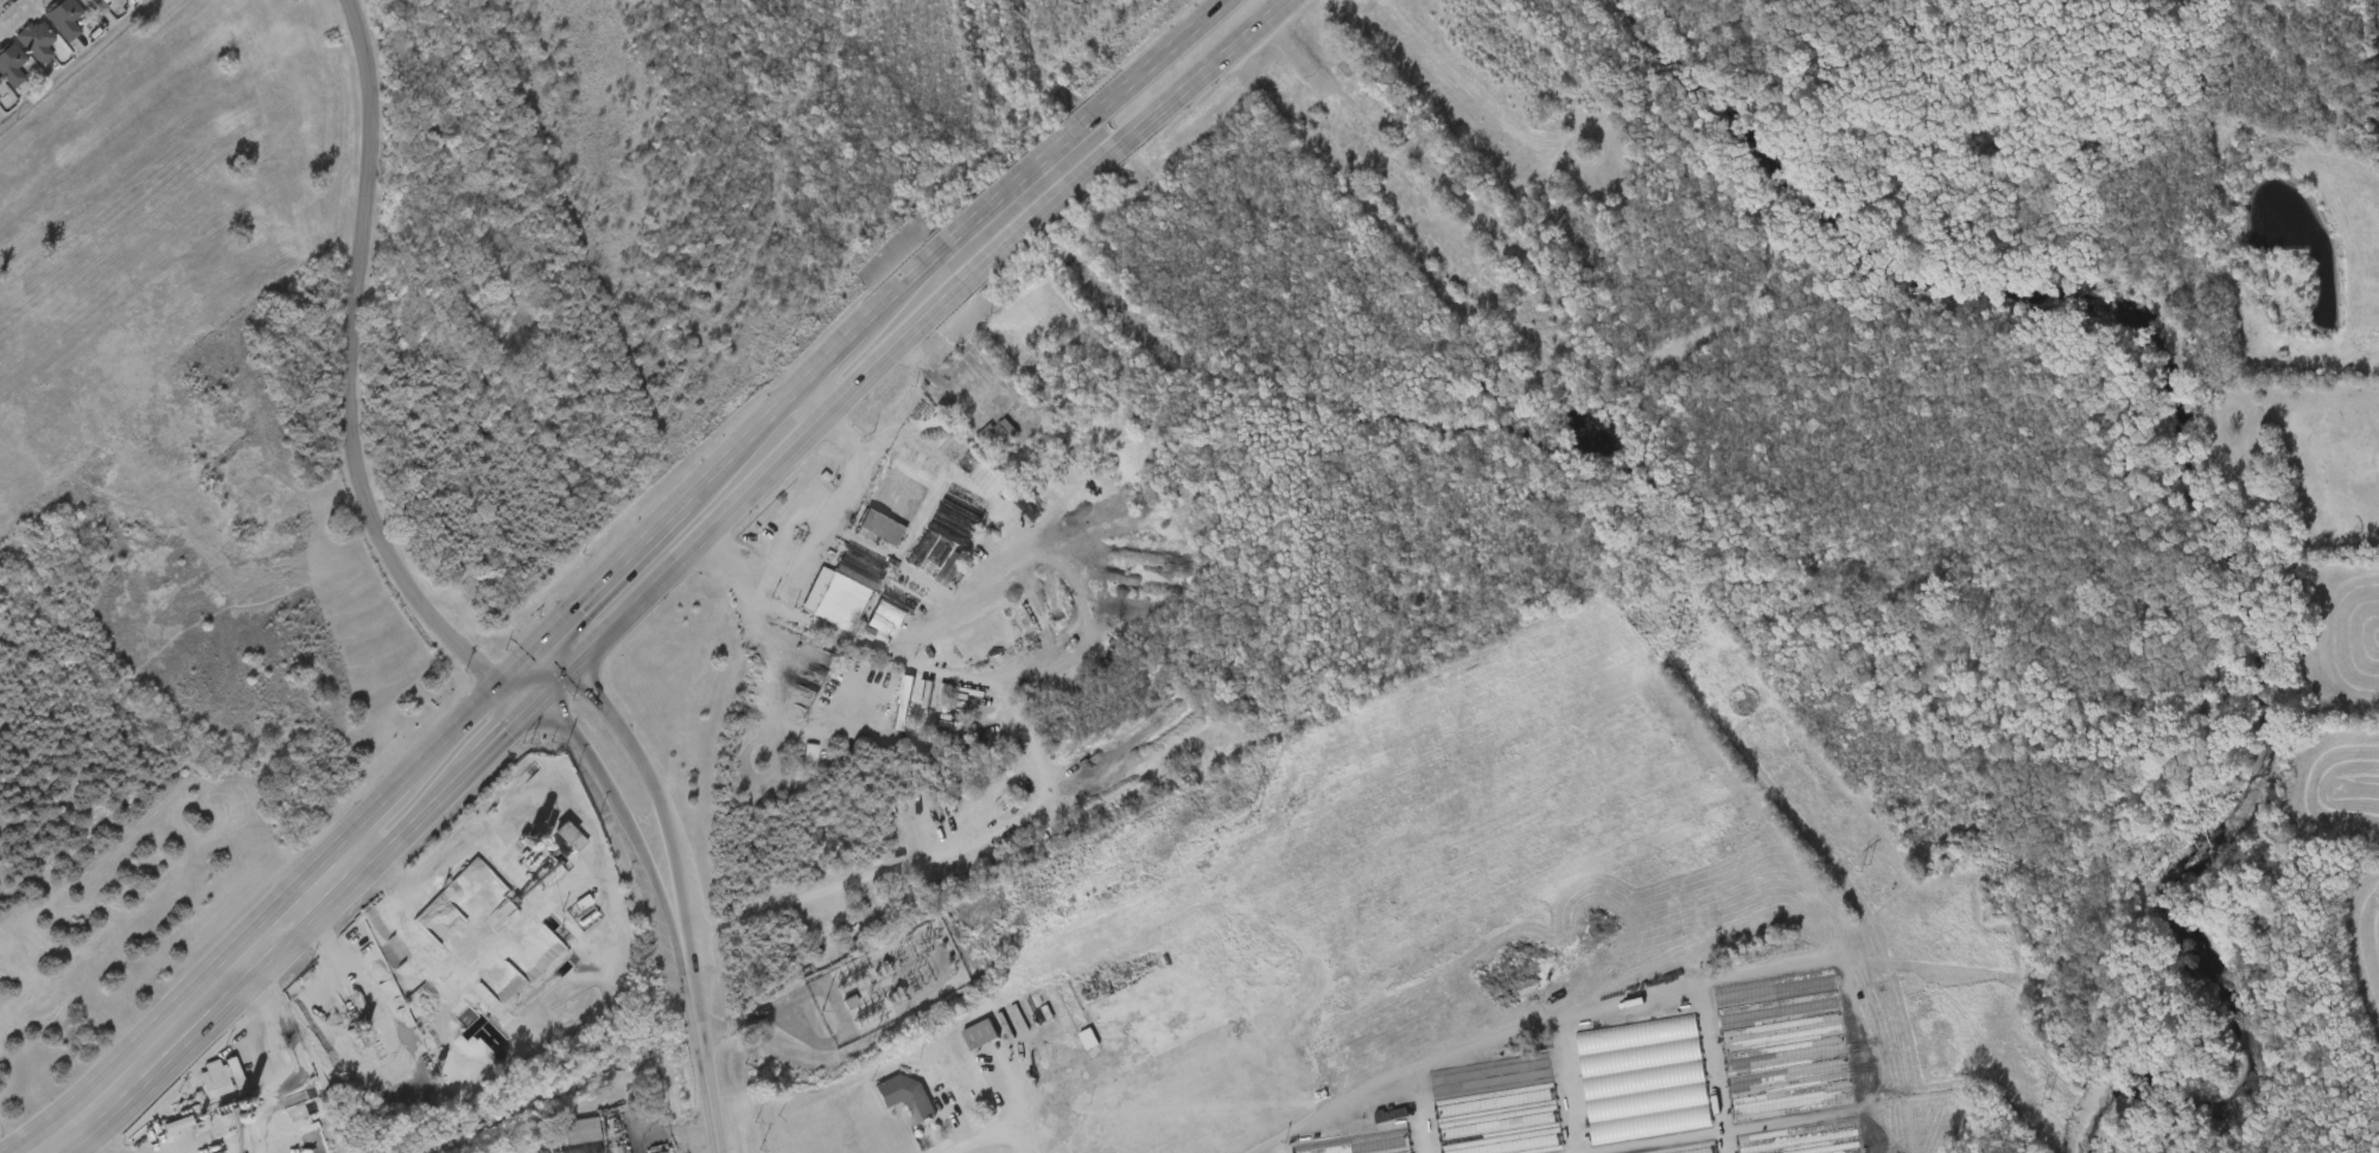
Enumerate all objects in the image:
road: (2, 1)
building: (95, 4)
building: (64, 14)
building: (36, 38)
road: (72, 60)
building: (11, 62)
building: (0, 78)
building: (1, 98)
road: (920, 327)
road: (860, 335)
road: (352, 364)
road: (819, 402)
building: (977, 454)
road: (809, 530)
building: (861, 548)
building: (929, 591)
building: (821, 611)
building: (869, 633)
traffic signals: (542, 646)
road: (554, 658)
traffic signals: (567, 670)
traffic signals: (505, 682)
road: (596, 699)
traffic signals: (534, 705)
road: (472, 714)
building: (882, 724)
road: (590, 760)
road: (654, 789)
road: (395, 791)
road: (1044, 802)
building: (543, 853)
road: (603, 867)
road: (323, 913)
road: (402, 922)
road: (237, 973)
road: (184, 999)
road: (693, 1001)
building: (959, 1056)
road: (1007, 1085)
building: (886, 1117)
building: (580, 1129)
road: (1000, 1133)
road: (670, 1142)
building: (560, 1146)

